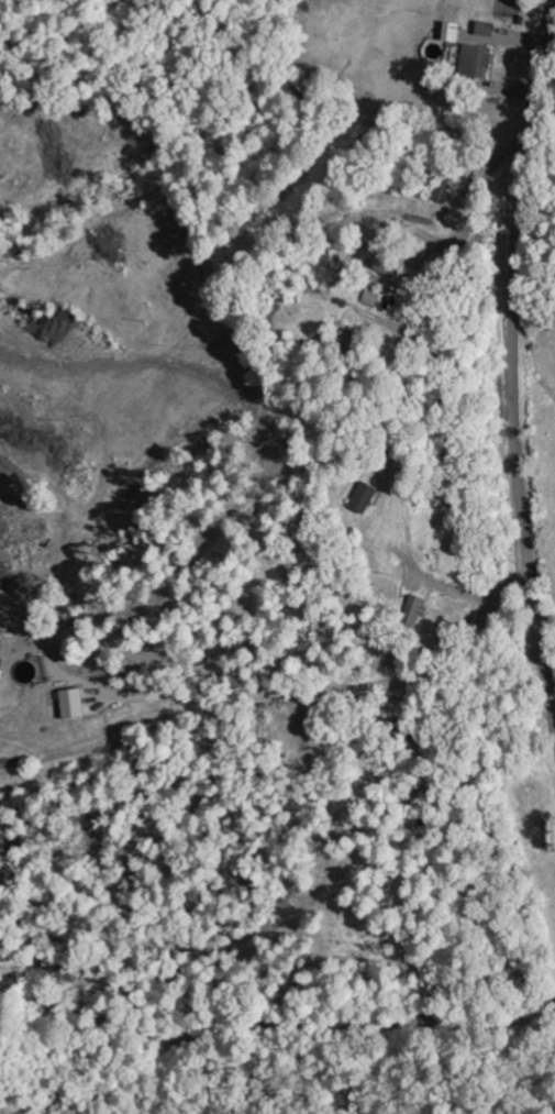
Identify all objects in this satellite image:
building: (484, 27)
building: (449, 31)
building: (474, 60)
building: (382, 265)
road: (511, 365)
building: (356, 496)
building: (410, 609)
building: (64, 613)
road: (289, 663)
building: (69, 703)
road: (282, 843)

